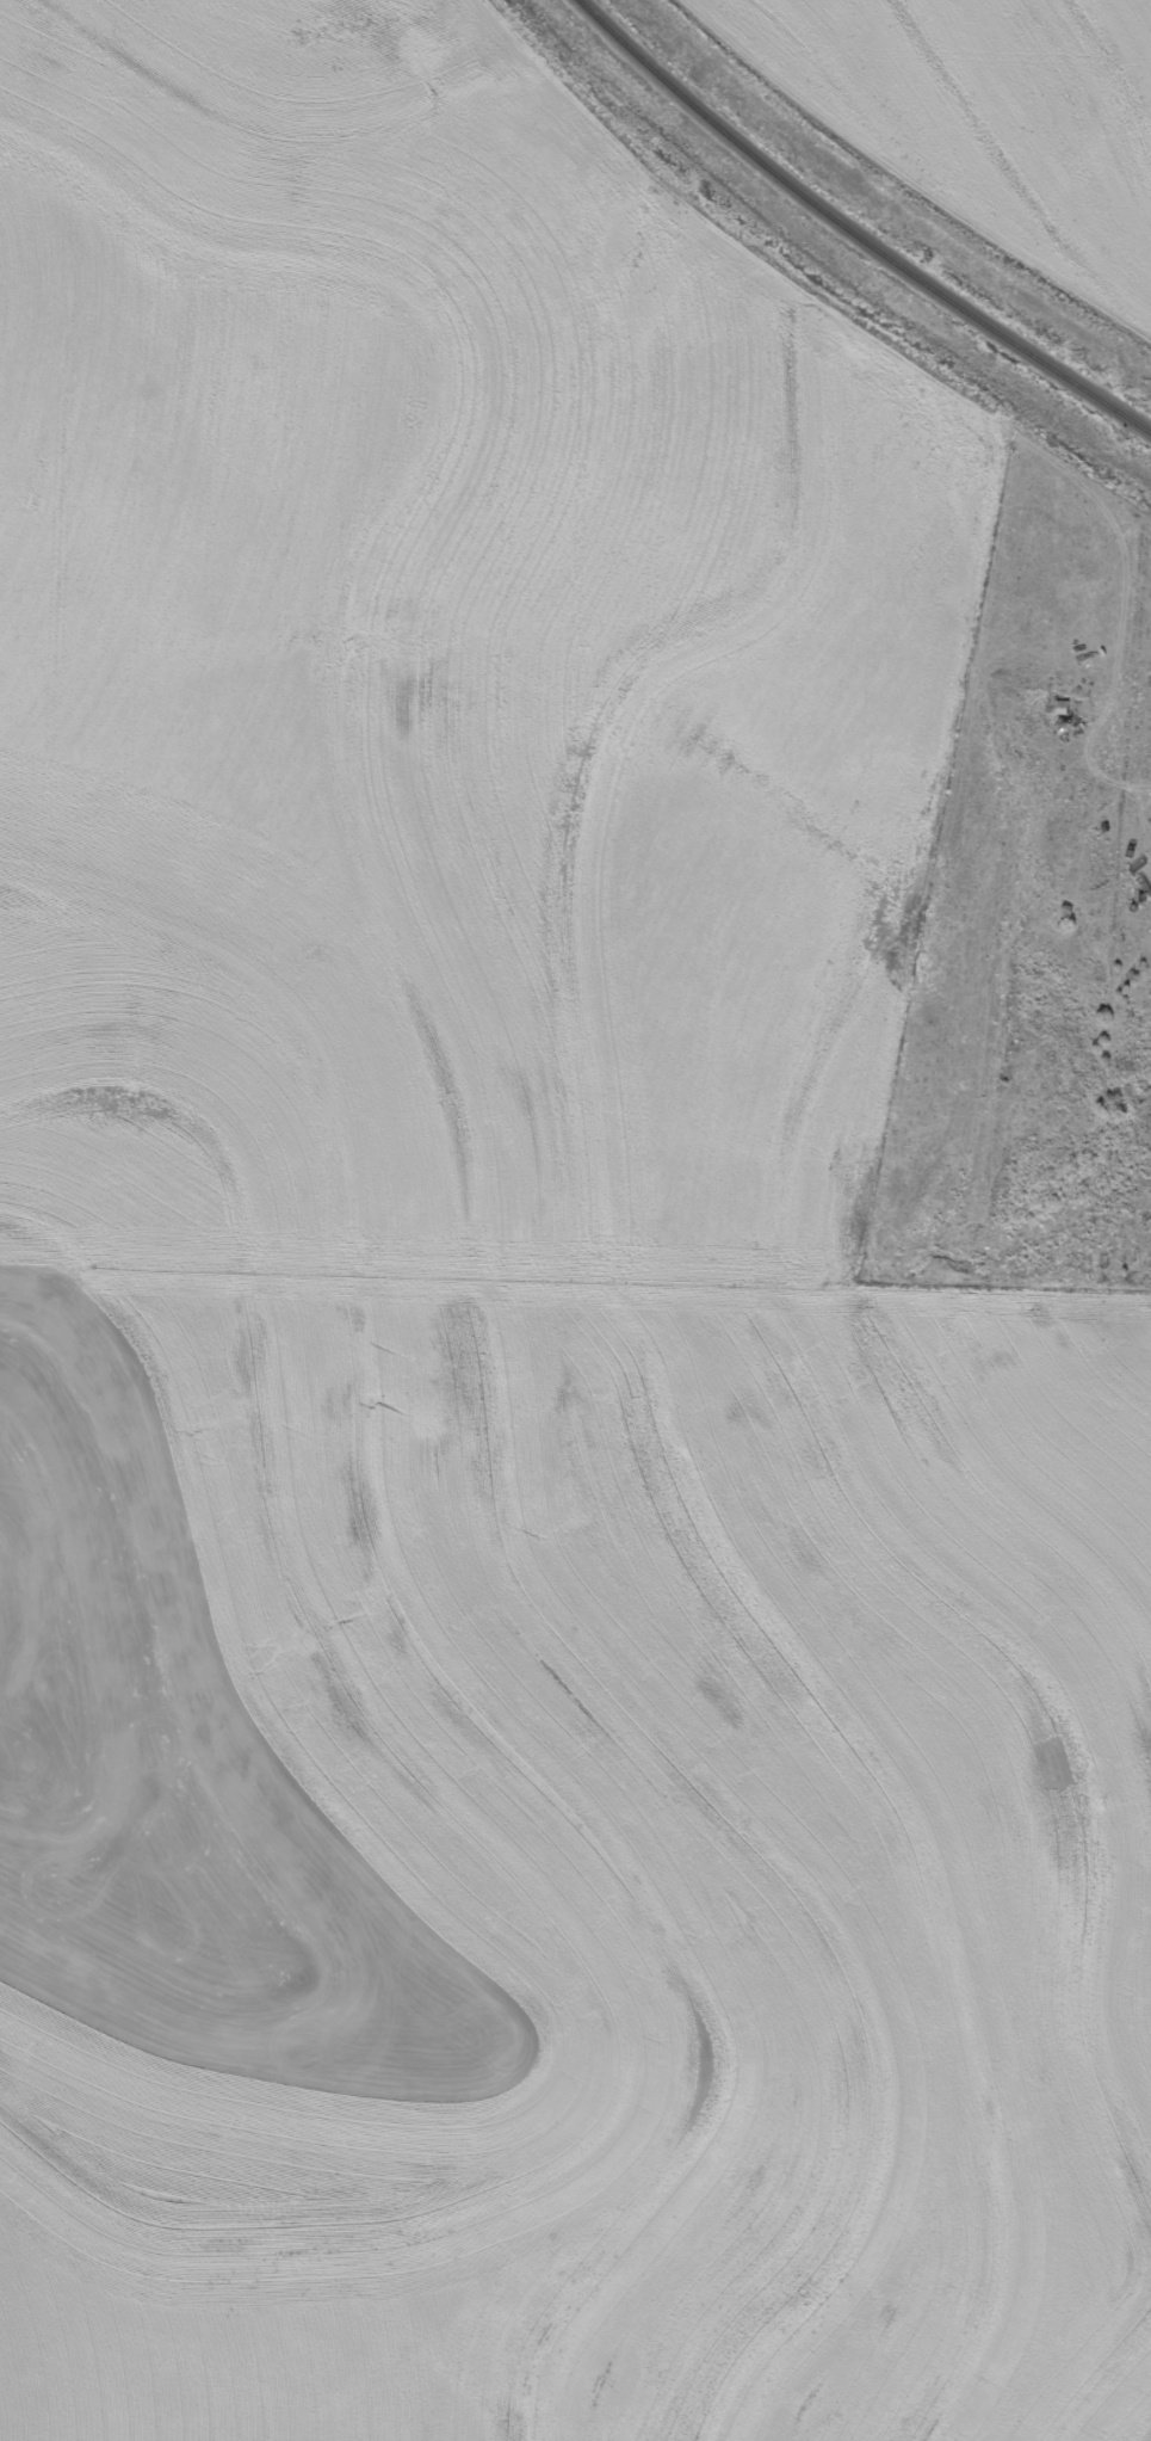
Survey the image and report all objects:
railway: (848, 238)
building: (624, 269)
building: (1058, 707)

